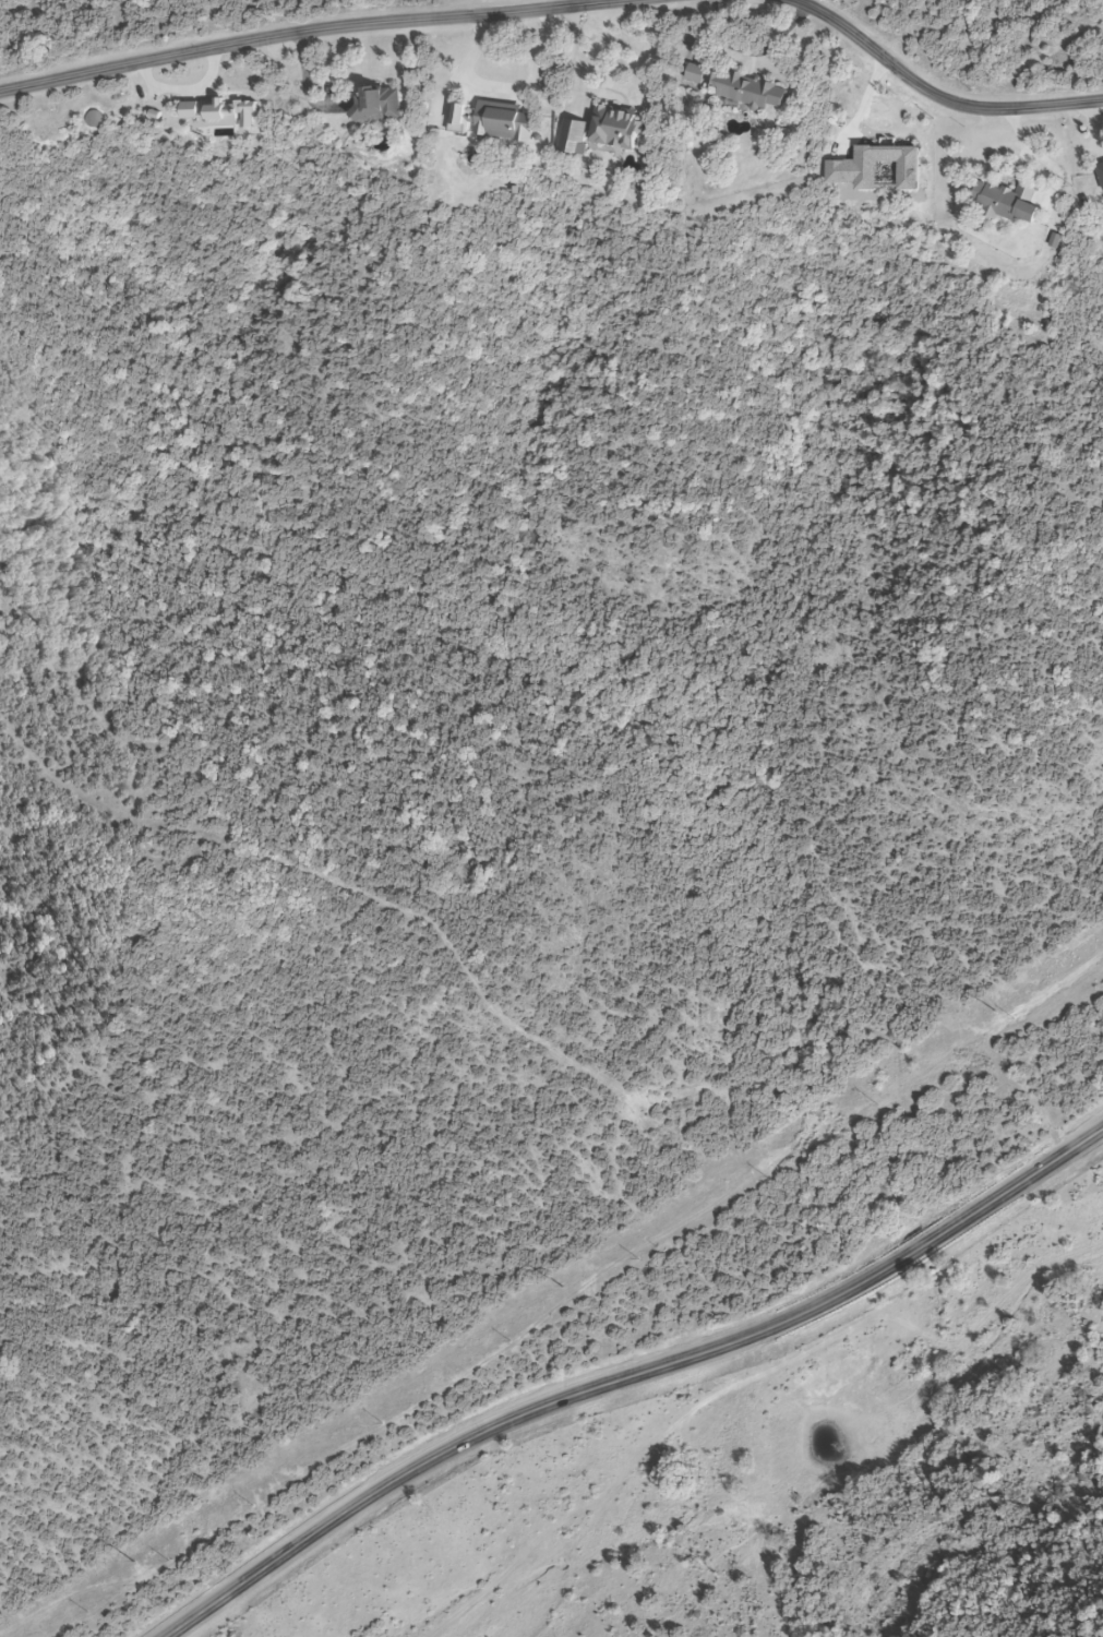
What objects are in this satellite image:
road: (301, 35)
road: (580, 56)
road: (505, 87)
building: (732, 87)
road: (305, 88)
road: (936, 92)
building: (377, 105)
building: (491, 122)
building: (612, 129)
building: (1100, 176)
building: (1005, 204)
power tower: (995, 1013)
power tower: (565, 1289)
road: (635, 1374)
power tower: (136, 1563)

